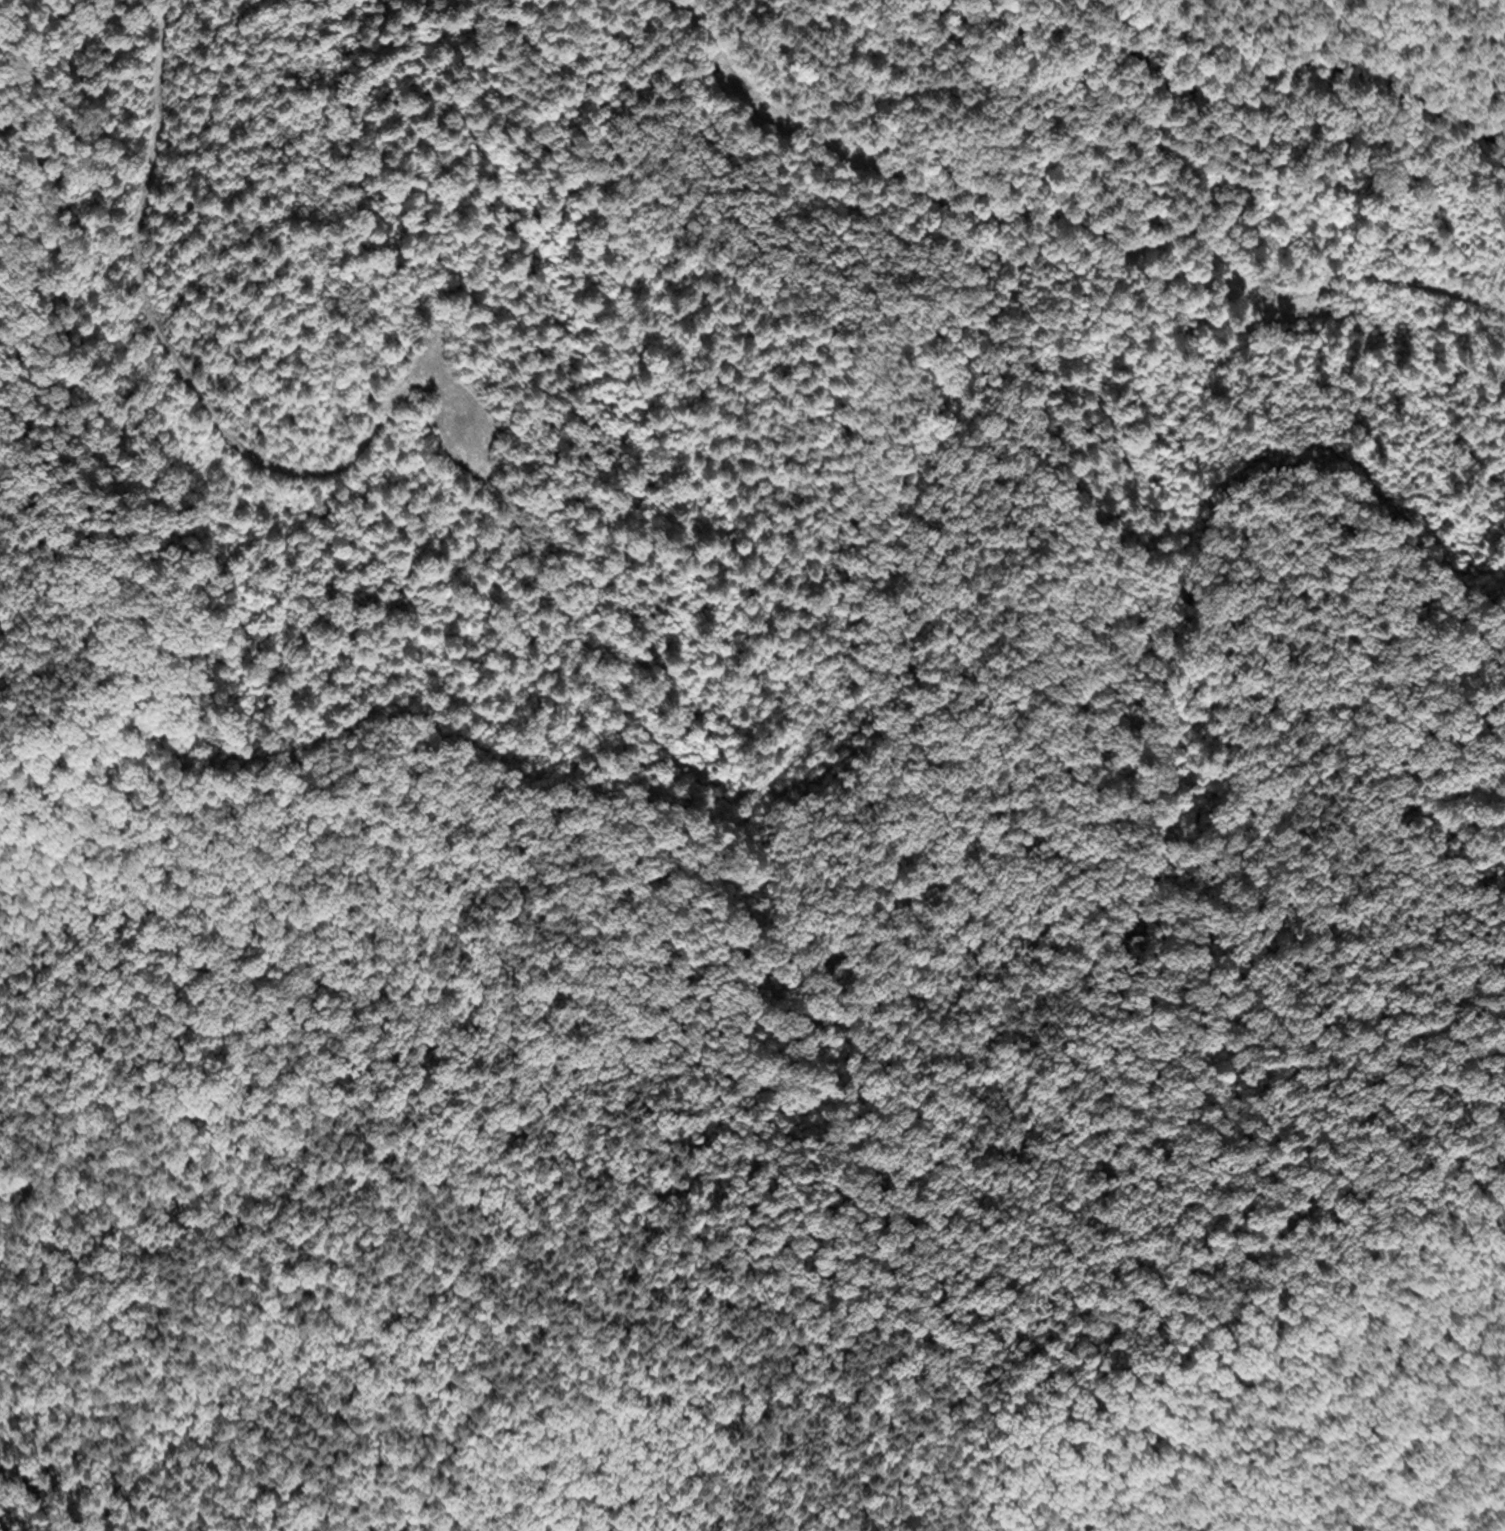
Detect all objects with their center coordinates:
road: (1018, 250)

